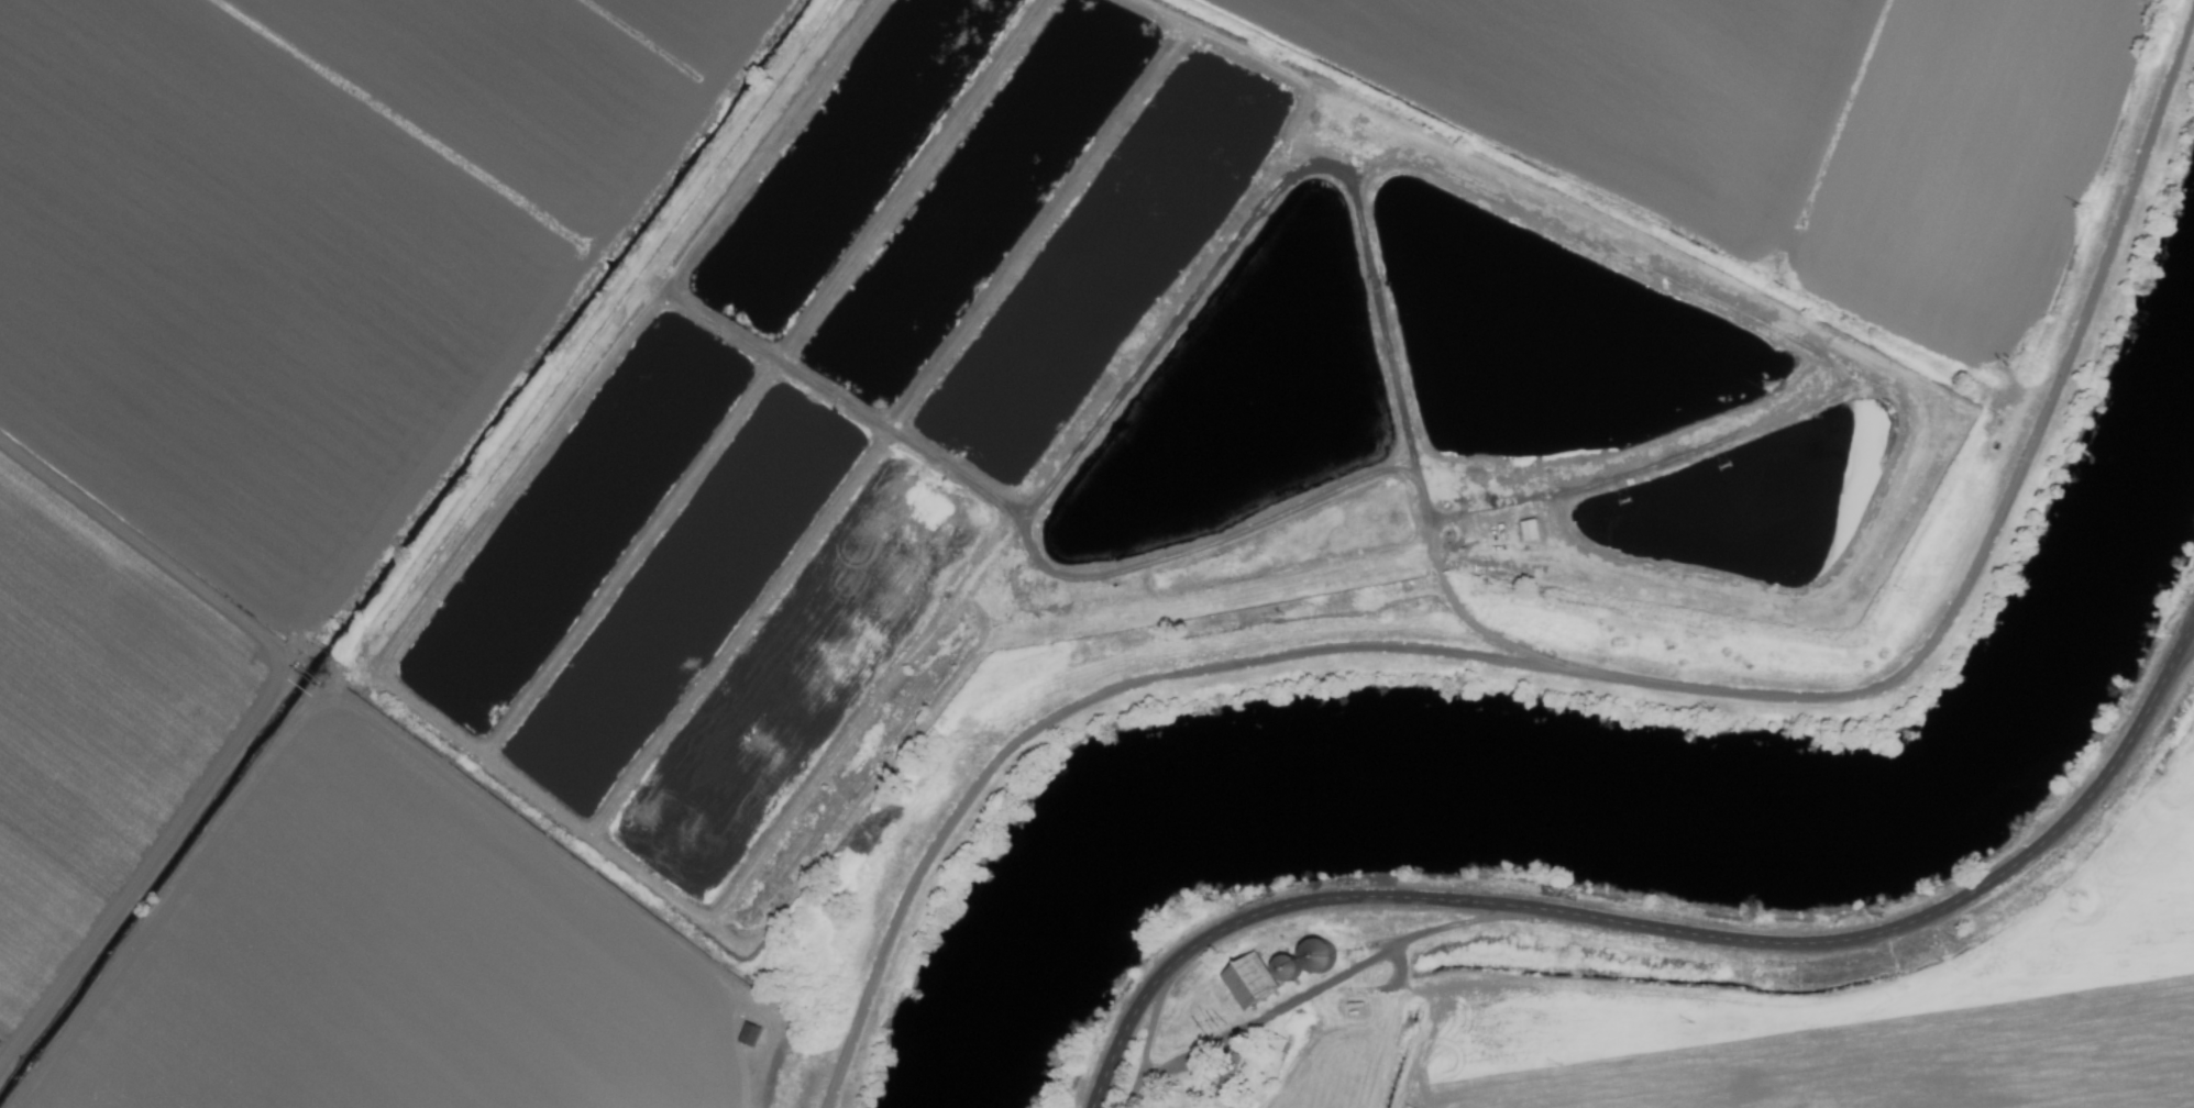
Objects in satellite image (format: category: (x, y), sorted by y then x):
crop: (1838, 133)
road: (1379, 314)
road: (762, 380)
road: (1874, 389)
road: (890, 433)
road: (1641, 458)
building: (1535, 532)
crop: (307, 552)
road: (1125, 555)
road: (1611, 677)
road: (254, 696)
road: (555, 900)
road: (710, 919)
road: (164, 922)
road: (1666, 931)
building: (1301, 961)
crop: (1766, 980)
building: (1246, 982)
road: (1305, 1000)
road: (1146, 1038)

